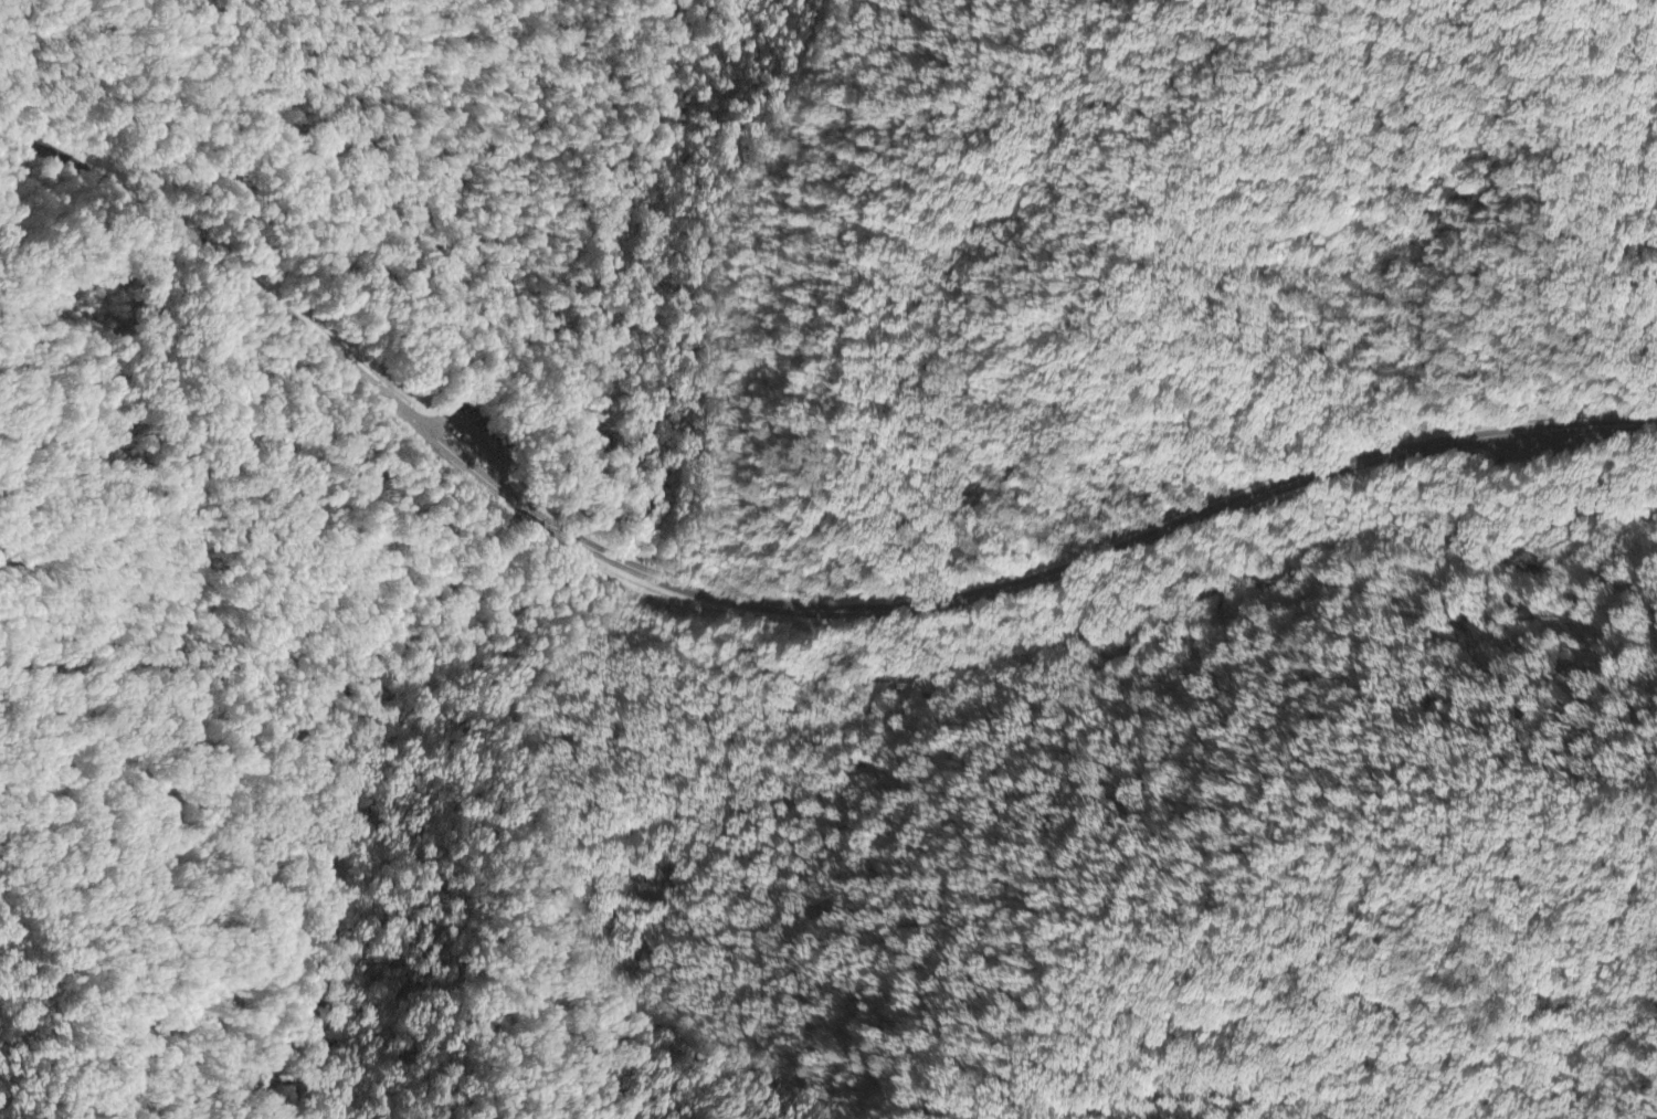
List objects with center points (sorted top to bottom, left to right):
road: (235, 265)
parking lot: (478, 431)
road: (478, 439)
parking lot: (1547, 447)
road: (1537, 448)
parking lot: (1530, 450)
road: (1027, 582)

